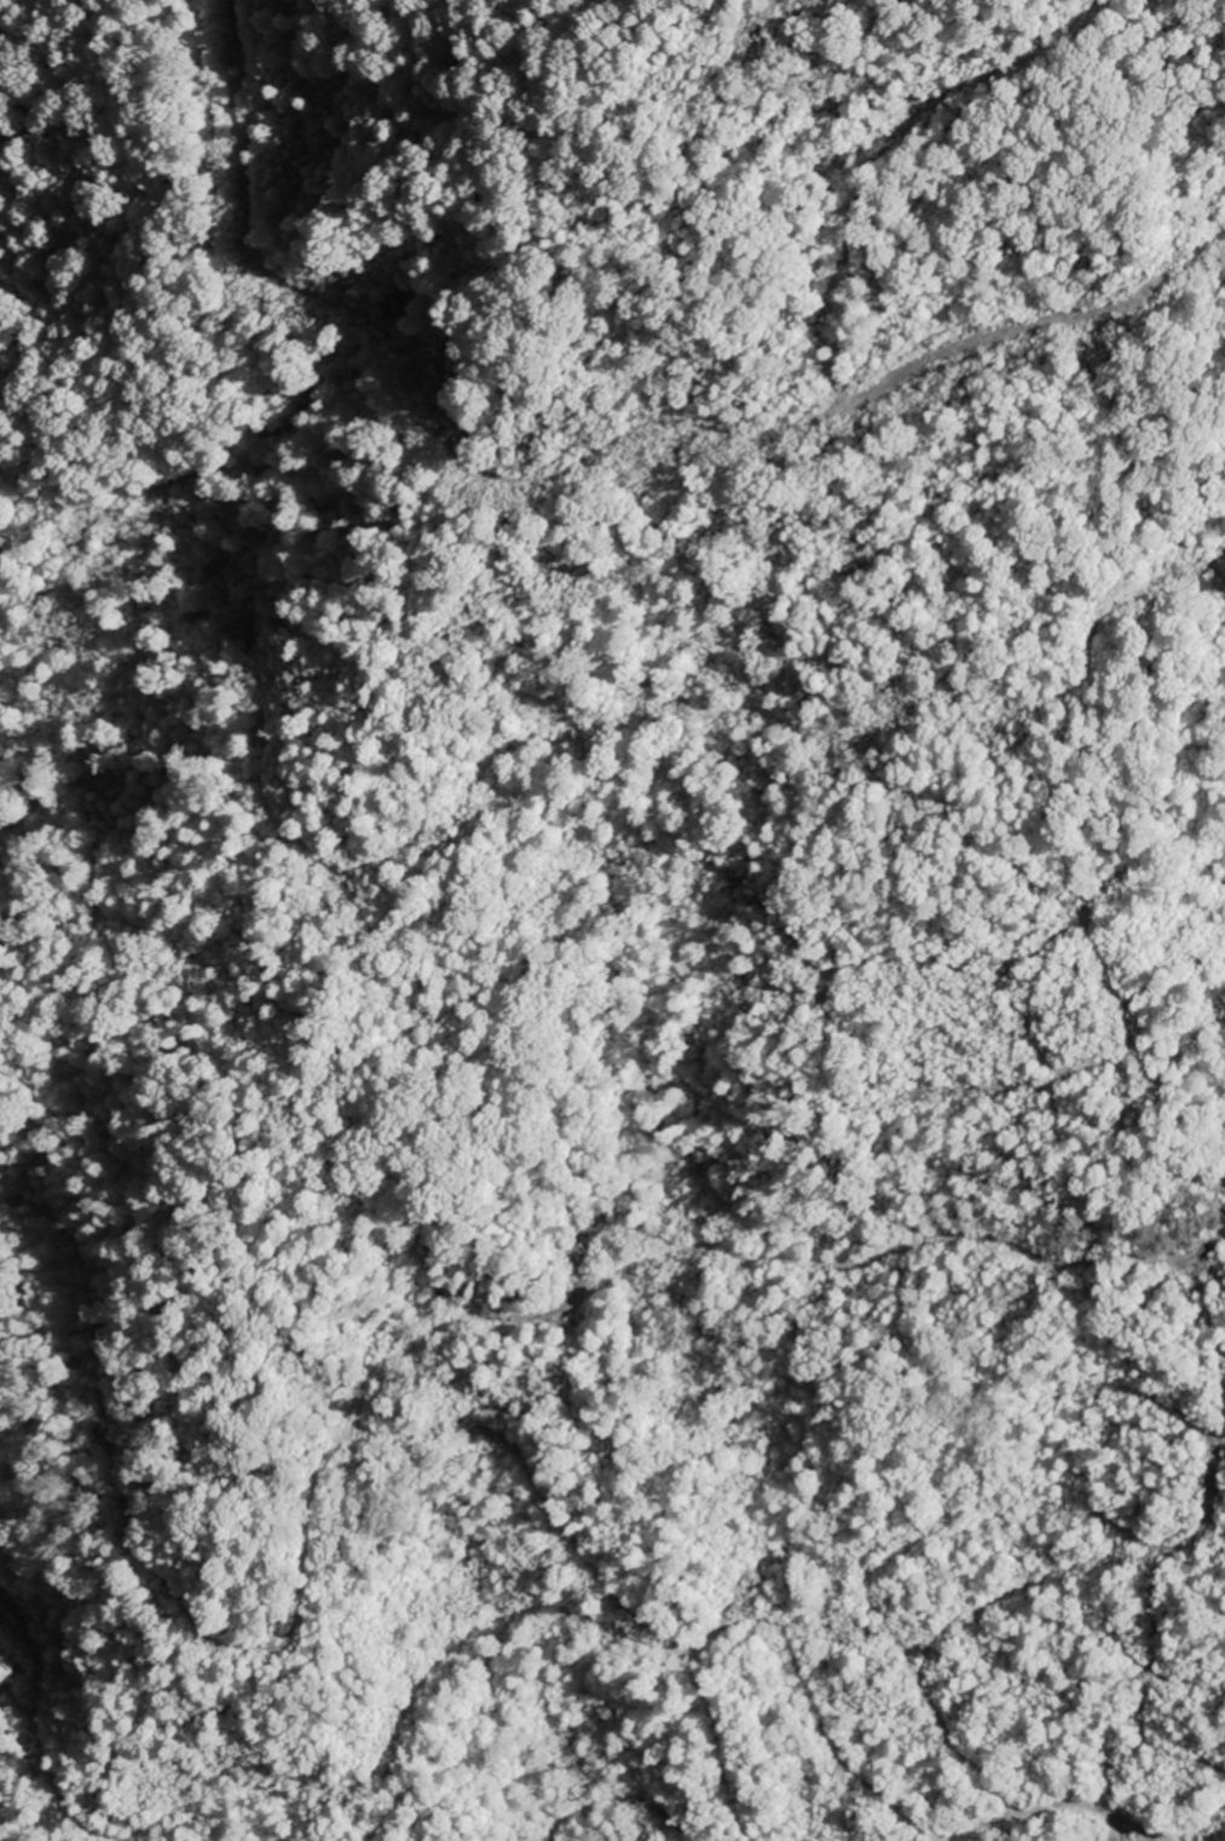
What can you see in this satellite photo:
road: (99, 1631)

